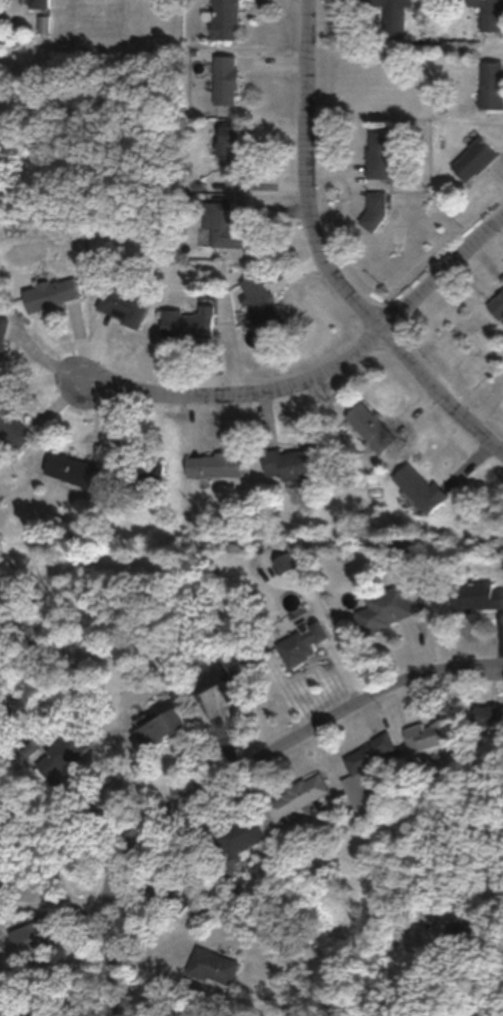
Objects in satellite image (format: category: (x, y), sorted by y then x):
building: (38, 3)
building: (489, 14)
building: (391, 17)
building: (225, 19)
building: (224, 79)
building: (491, 84)
building: (228, 147)
building: (379, 154)
building: (473, 159)
building: (374, 209)
building: (222, 224)
road: (324, 259)
building: (50, 293)
building: (262, 303)
building: (122, 304)
building: (189, 322)
building: (2, 336)
road: (320, 381)
building: (370, 426)
building: (13, 430)
building: (294, 461)
building: (213, 463)
building: (73, 468)
building: (157, 473)
building: (420, 488)
building: (285, 561)
building: (476, 595)
building: (385, 608)
road: (342, 634)
building: (300, 643)
building: (220, 679)
building: (487, 716)
building: (156, 724)
building: (429, 734)
road: (305, 737)
building: (60, 752)
building: (357, 772)
building: (297, 796)
building: (232, 843)
building: (3, 867)
building: (168, 896)
road: (110, 932)
building: (32, 937)
building: (212, 965)

